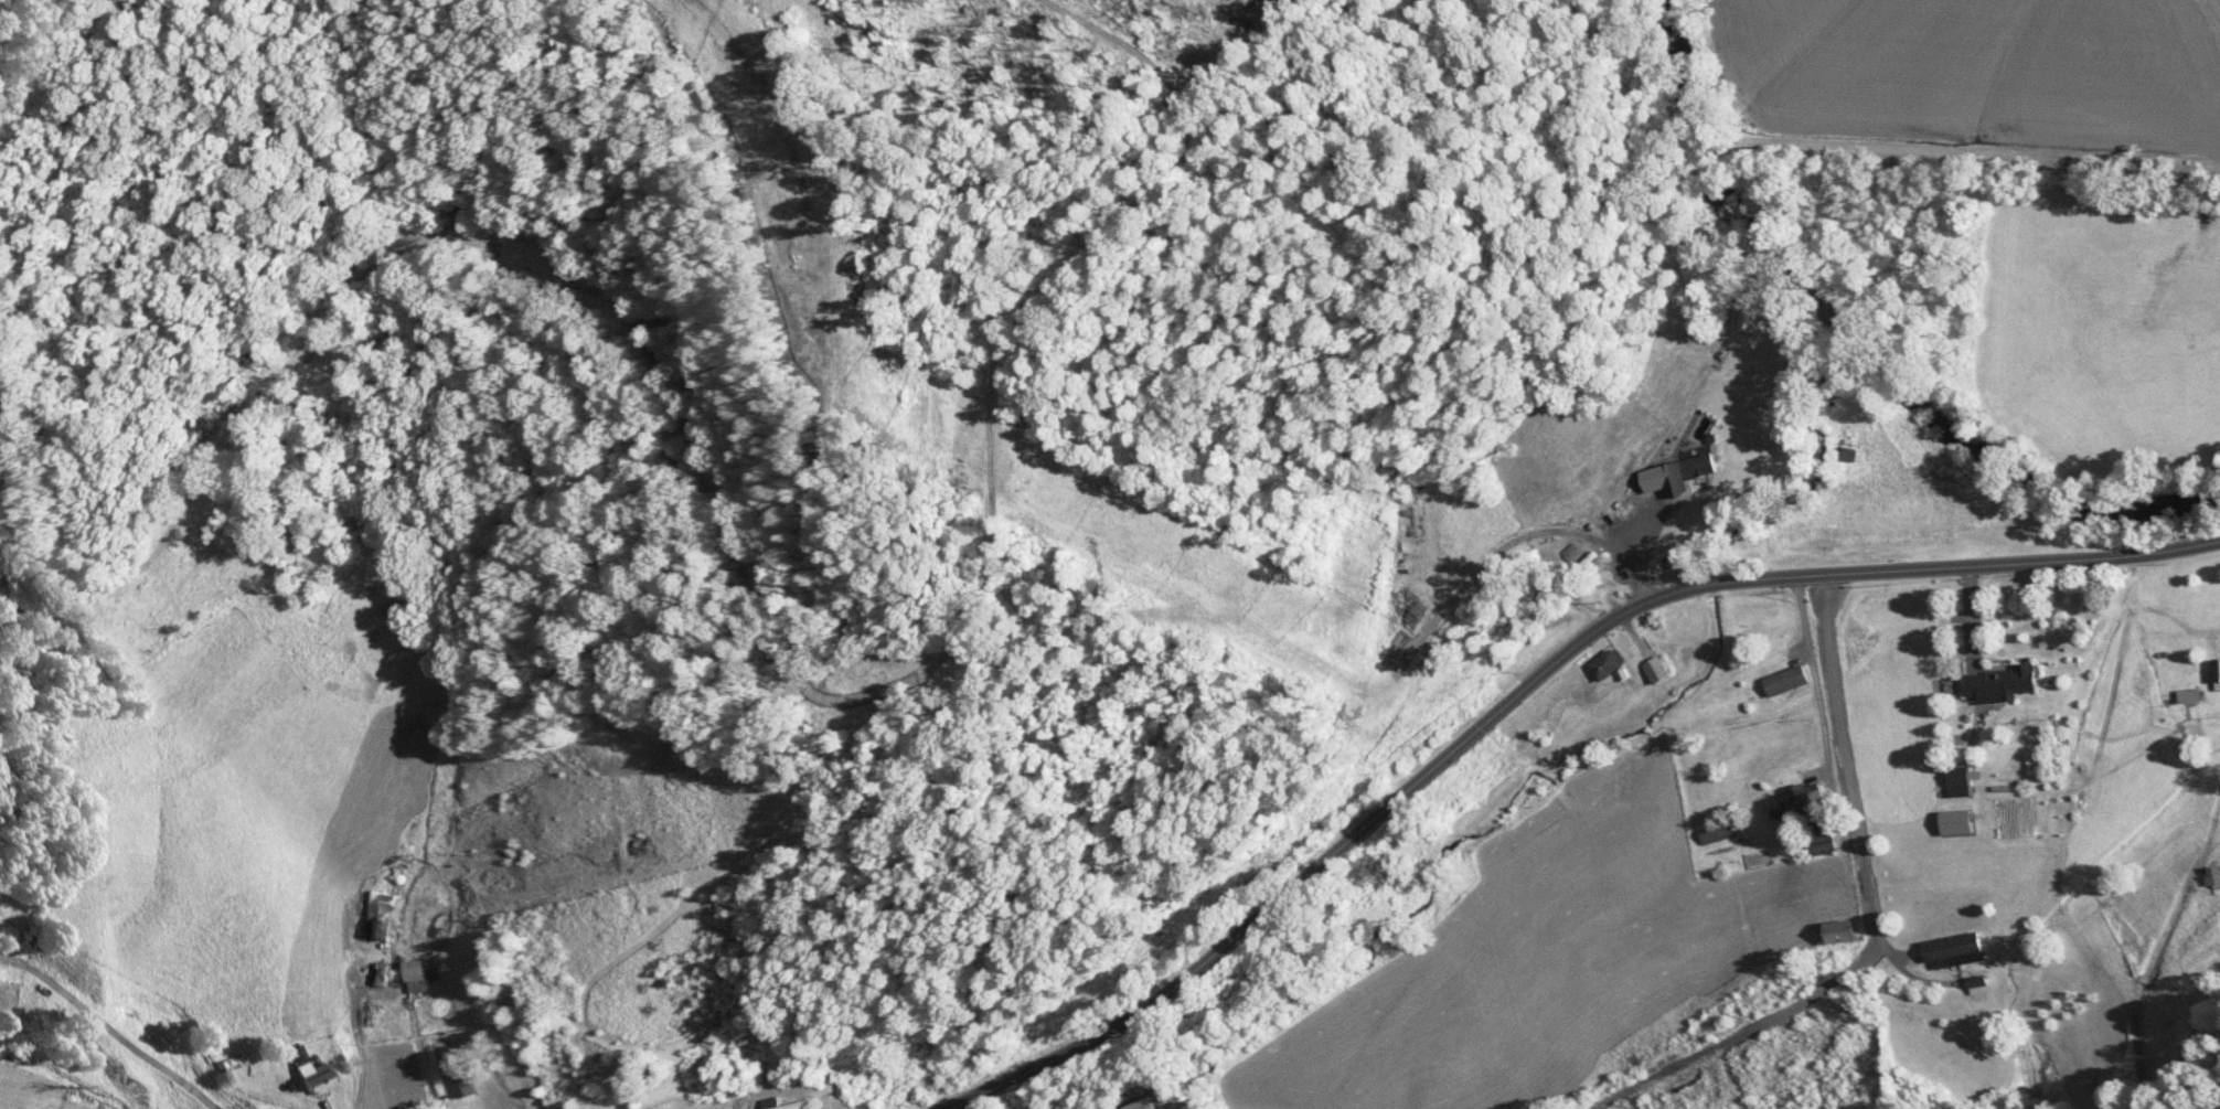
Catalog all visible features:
building: (1749, 322)
river: (1857, 349)
building: (1699, 468)
road: (1515, 542)
building: (1611, 665)
building: (1658, 671)
building: (2218, 671)
building: (1786, 681)
building: (2000, 682)
road: (1528, 684)
building: (2190, 697)
building: (1961, 785)
building: (1799, 802)
road: (1853, 811)
building: (1717, 834)
building: (1825, 840)
building: (380, 917)
building: (1844, 932)
building: (1955, 952)
building: (381, 975)
building: (416, 977)
building: (310, 1074)
building: (461, 1084)
building: (801, 1105)
building: (1135, 1107)

